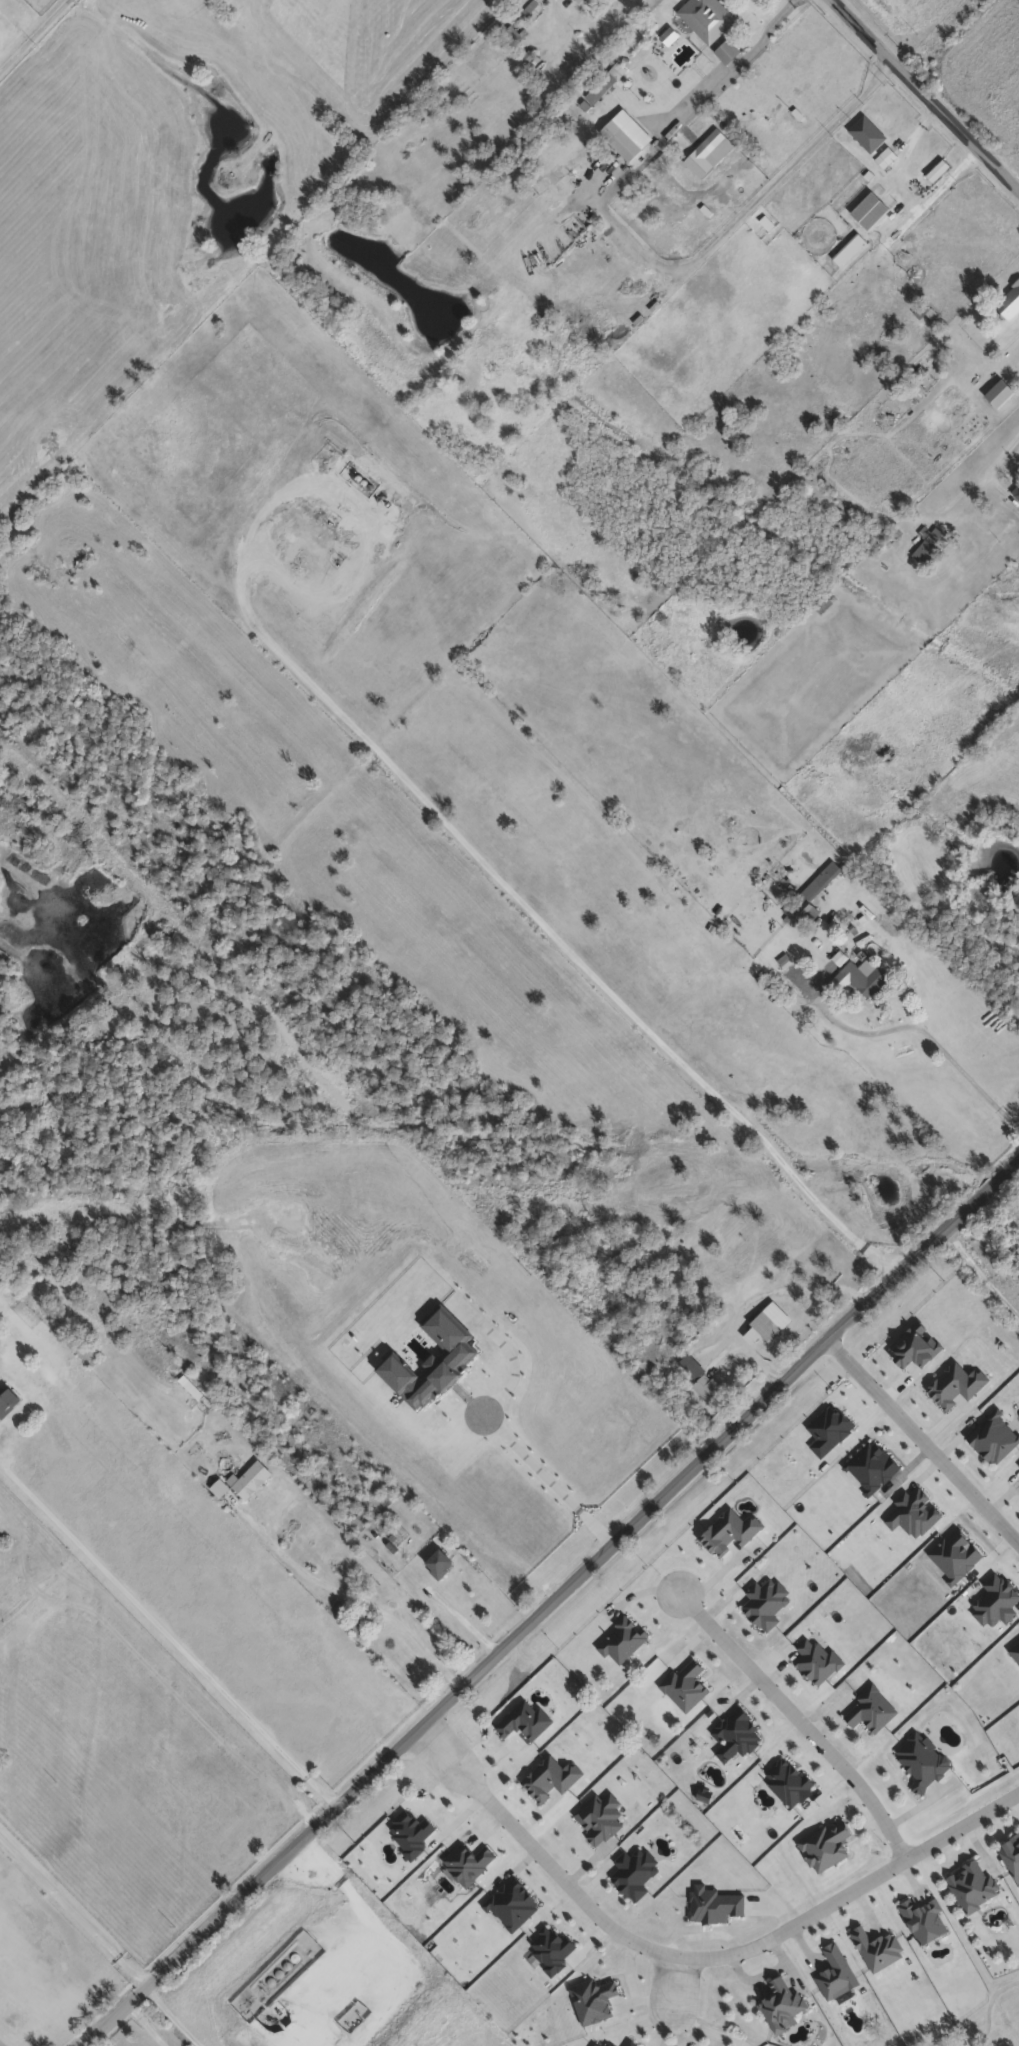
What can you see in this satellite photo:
building: (705, 19)
road: (32, 34)
building: (668, 37)
building: (725, 52)
building: (599, 88)
road: (927, 90)
building: (795, 114)
building: (865, 134)
building: (618, 141)
building: (884, 158)
building: (936, 171)
building: (868, 211)
road: (647, 250)
building: (847, 250)
building: (1008, 302)
building: (998, 394)
road: (988, 473)
building: (1016, 492)
building: (929, 546)
building: (824, 602)
road: (480, 862)
building: (810, 896)
building: (859, 979)
road: (931, 1039)
road: (982, 1277)
building: (764, 1326)
building: (701, 1381)
building: (7, 1402)
road: (507, 1433)
building: (593, 1438)
building: (991, 1438)
road: (924, 1443)
building: (873, 1467)
building: (248, 1480)
building: (903, 1491)
building: (437, 1564)
building: (424, 1591)
road: (360, 1596)
building: (995, 1601)
building: (766, 1603)
road: (555, 1607)
road: (171, 1634)
building: (816, 1664)
building: (685, 1687)
building: (872, 1709)
road: (799, 1720)
building: (740, 1735)
building: (921, 1759)
building: (788, 1782)
building: (825, 1844)
building: (1012, 1854)
building: (636, 1872)
building: (974, 1887)
building: (515, 1904)
building: (715, 1907)
road: (76, 1911)
road: (959, 1940)
building: (874, 1948)
road: (696, 1957)
building: (835, 1974)
road: (675, 1986)
road: (229, 2002)
building: (781, 2007)
road: (990, 2010)
road: (179, 2017)
road: (145, 2028)
building: (632, 2043)
building: (599, 2044)
road: (0, 2045)
building: (607, 2045)

